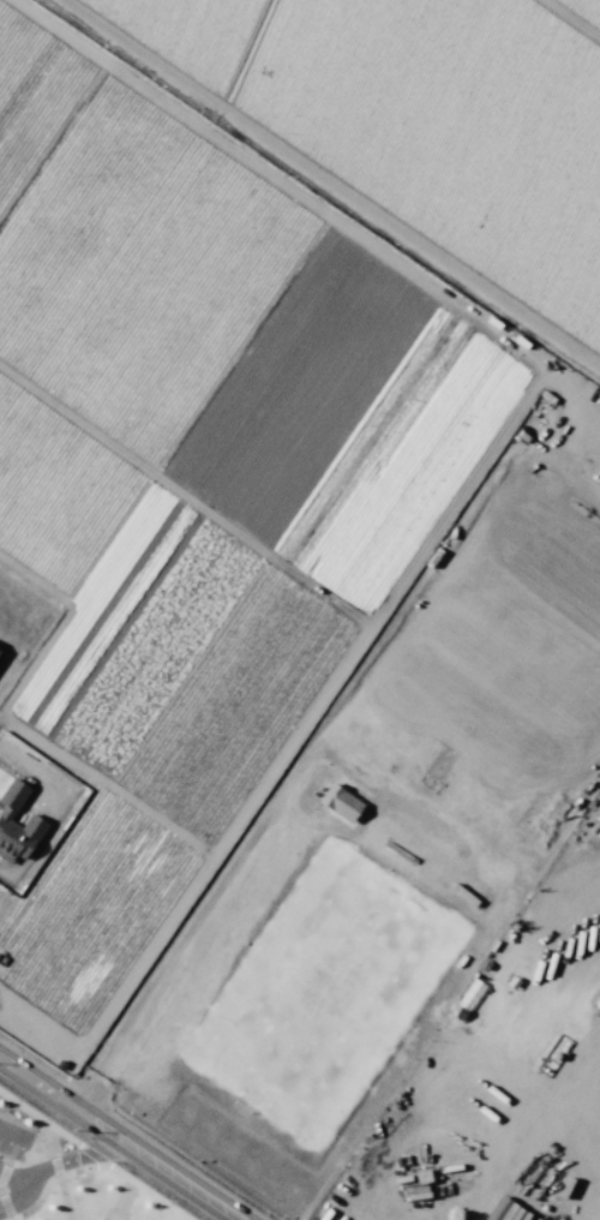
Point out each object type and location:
crop: (289, 539)
building: (338, 802)
building: (16, 825)
building: (469, 994)
road: (4, 1129)
road: (120, 1138)
road: (61, 1162)
road: (22, 1194)
building: (502, 1210)

